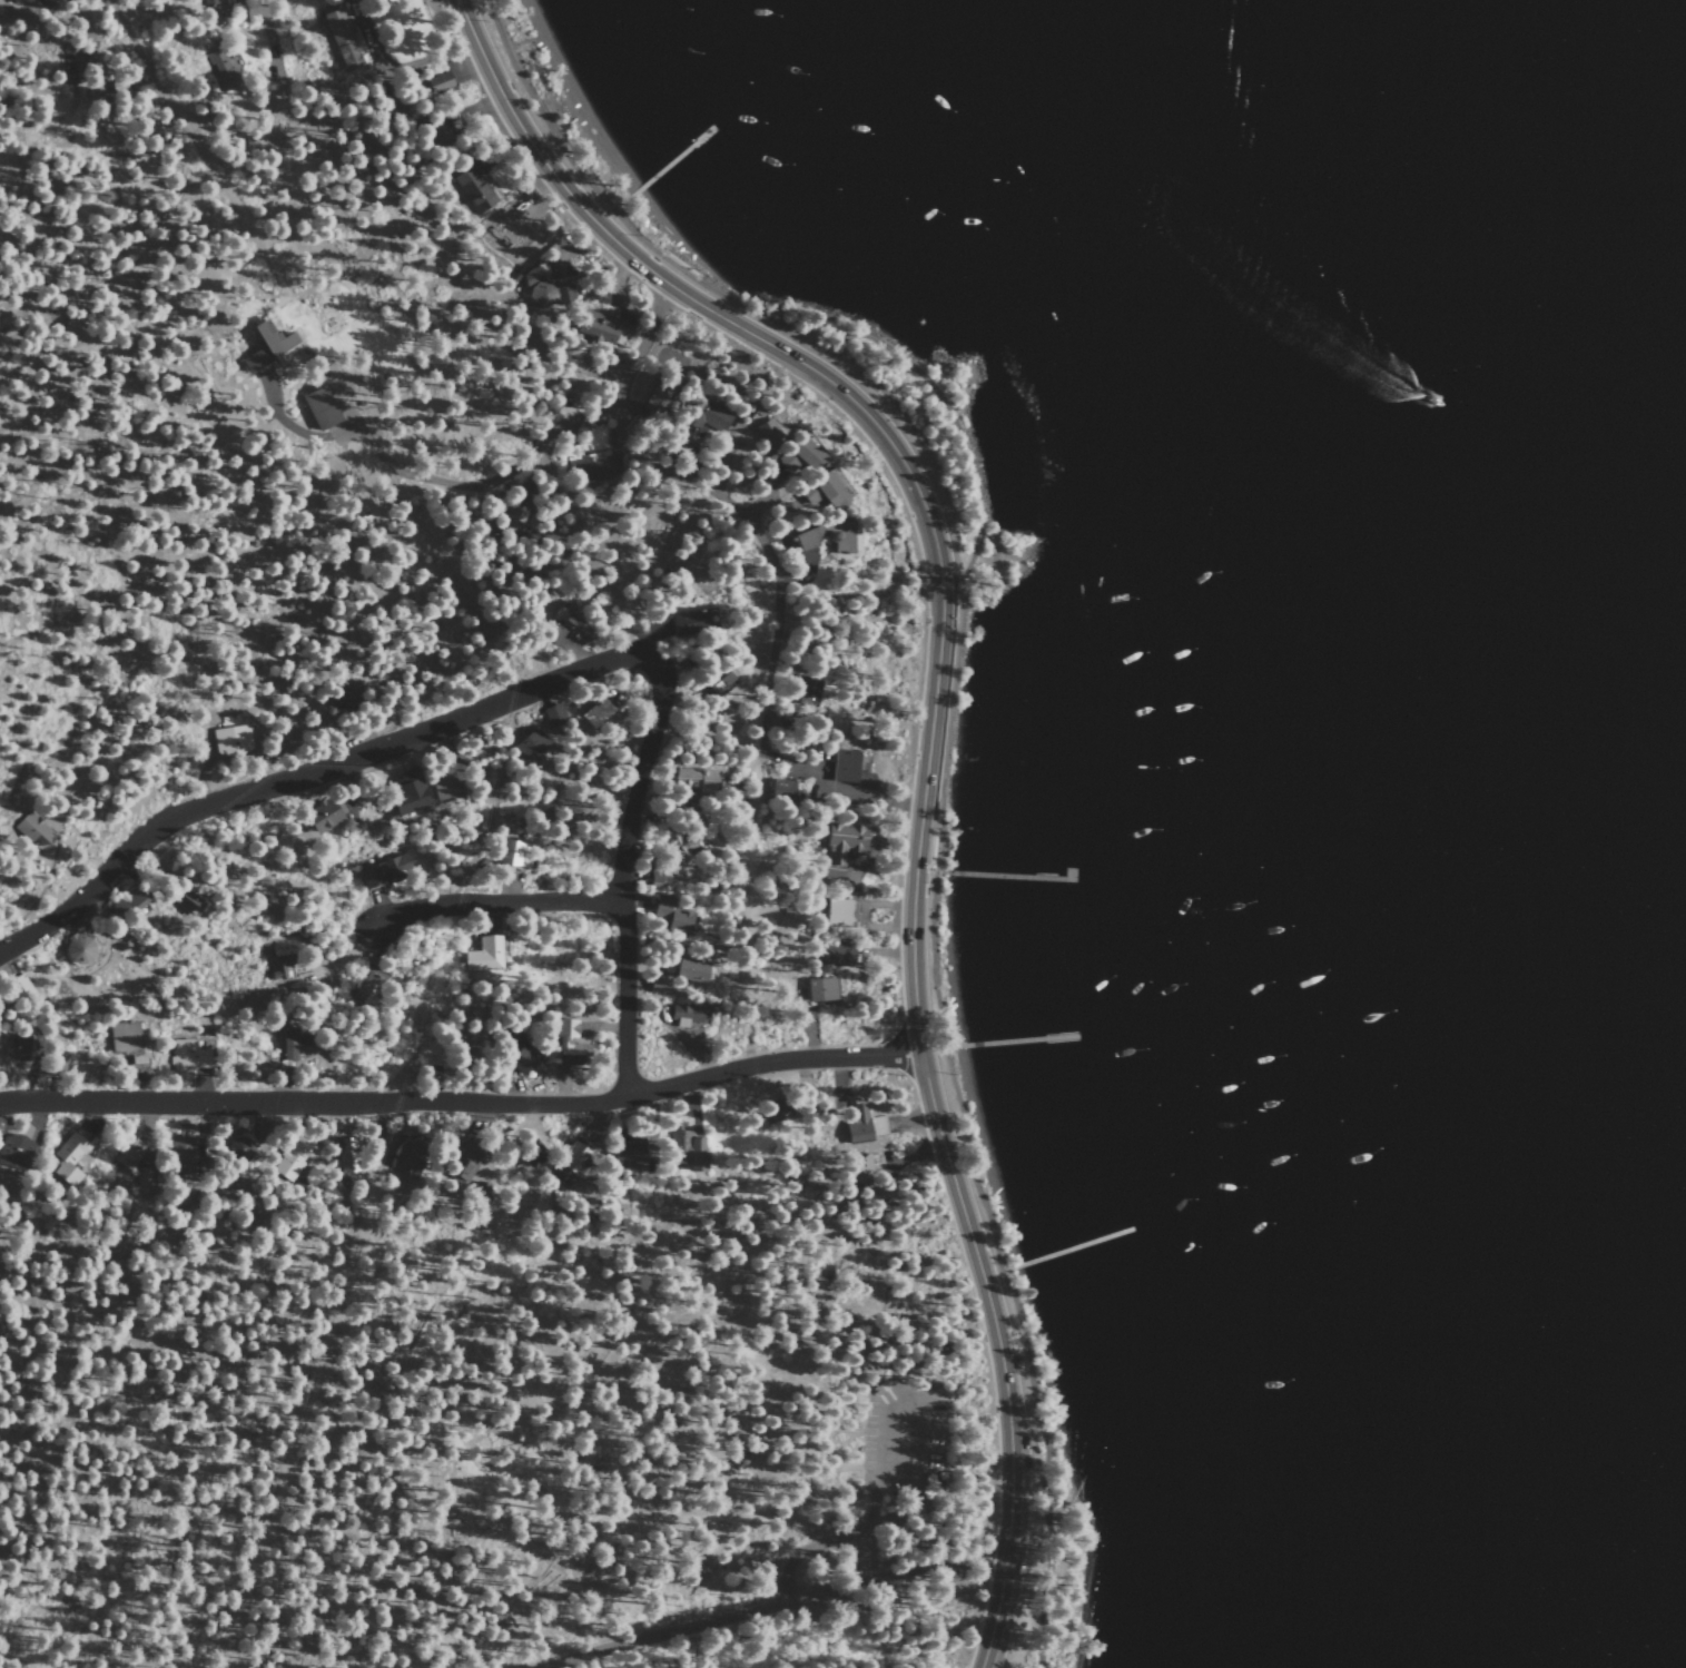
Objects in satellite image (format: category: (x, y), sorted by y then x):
building: (16, 1)
building: (210, 2)
road: (268, 36)
building: (345, 41)
road: (140, 51)
building: (75, 53)
building: (219, 63)
building: (441, 82)
pier: (669, 166)
building: (473, 188)
road: (256, 241)
building: (545, 293)
building: (598, 327)
building: (268, 346)
building: (658, 397)
building: (319, 408)
building: (711, 417)
building: (767, 428)
road: (296, 431)
building: (801, 455)
building: (592, 470)
road: (466, 485)
building: (824, 492)
road: (719, 496)
building: (510, 521)
building: (830, 537)
building: (689, 623)
building: (570, 629)
building: (718, 681)
building: (802, 690)
building: (596, 713)
building: (553, 714)
road: (945, 719)
road: (929, 740)
building: (230, 741)
building: (530, 746)
building: (847, 766)
road: (304, 777)
building: (697, 780)
building: (445, 787)
building: (782, 788)
building: (407, 794)
building: (325, 815)
building: (32, 830)
building: (840, 847)
building: (511, 853)
road: (623, 870)
building: (384, 872)
pier: (1008, 875)
building: (659, 877)
building: (186, 901)
road: (496, 901)
building: (128, 902)
road: (743, 907)
building: (672, 916)
building: (78, 951)
building: (484, 955)
building: (837, 956)
building: (280, 961)
building: (694, 971)
building: (660, 984)
building: (19, 987)
building: (365, 991)
building: (821, 991)
building: (687, 1015)
pier: (1006, 1039)
building: (128, 1040)
building: (570, 1042)
building: (456, 1044)
building: (18, 1046)
building: (292, 1048)
building: (517, 1053)
building: (187, 1056)
building: (57, 1062)
road: (463, 1102)
building: (777, 1112)
building: (858, 1123)
building: (687, 1147)
building: (238, 1148)
building: (412, 1152)
building: (628, 1152)
building: (14, 1153)
building: (126, 1153)
building: (183, 1154)
building: (347, 1154)
building: (532, 1154)
building: (293, 1157)
building: (67, 1158)
building: (572, 1161)
building: (462, 1164)
building: (864, 1168)
building: (142, 1178)
pier: (1064, 1250)
road: (306, 1389)
parking lot: (903, 1410)
road: (855, 1528)
road: (776, 1605)

